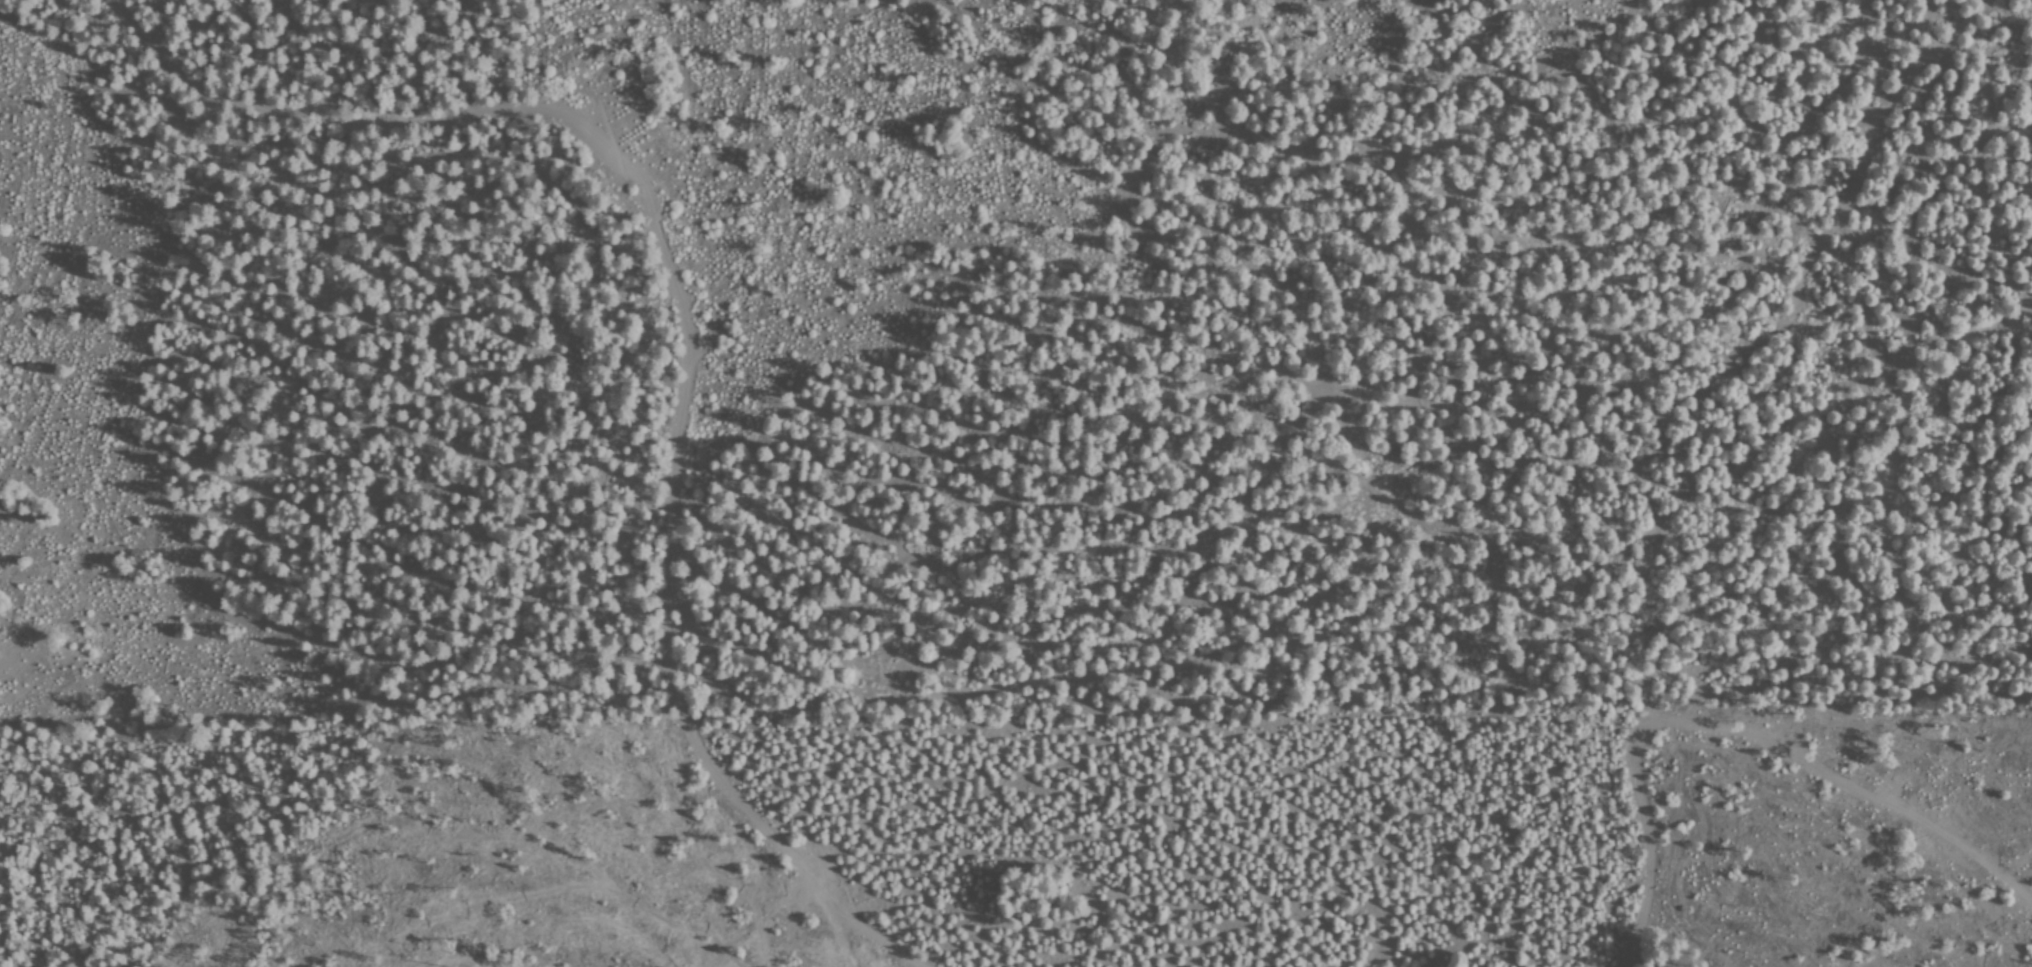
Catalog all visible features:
road: (689, 337)
road: (1624, 442)
road: (1373, 628)

